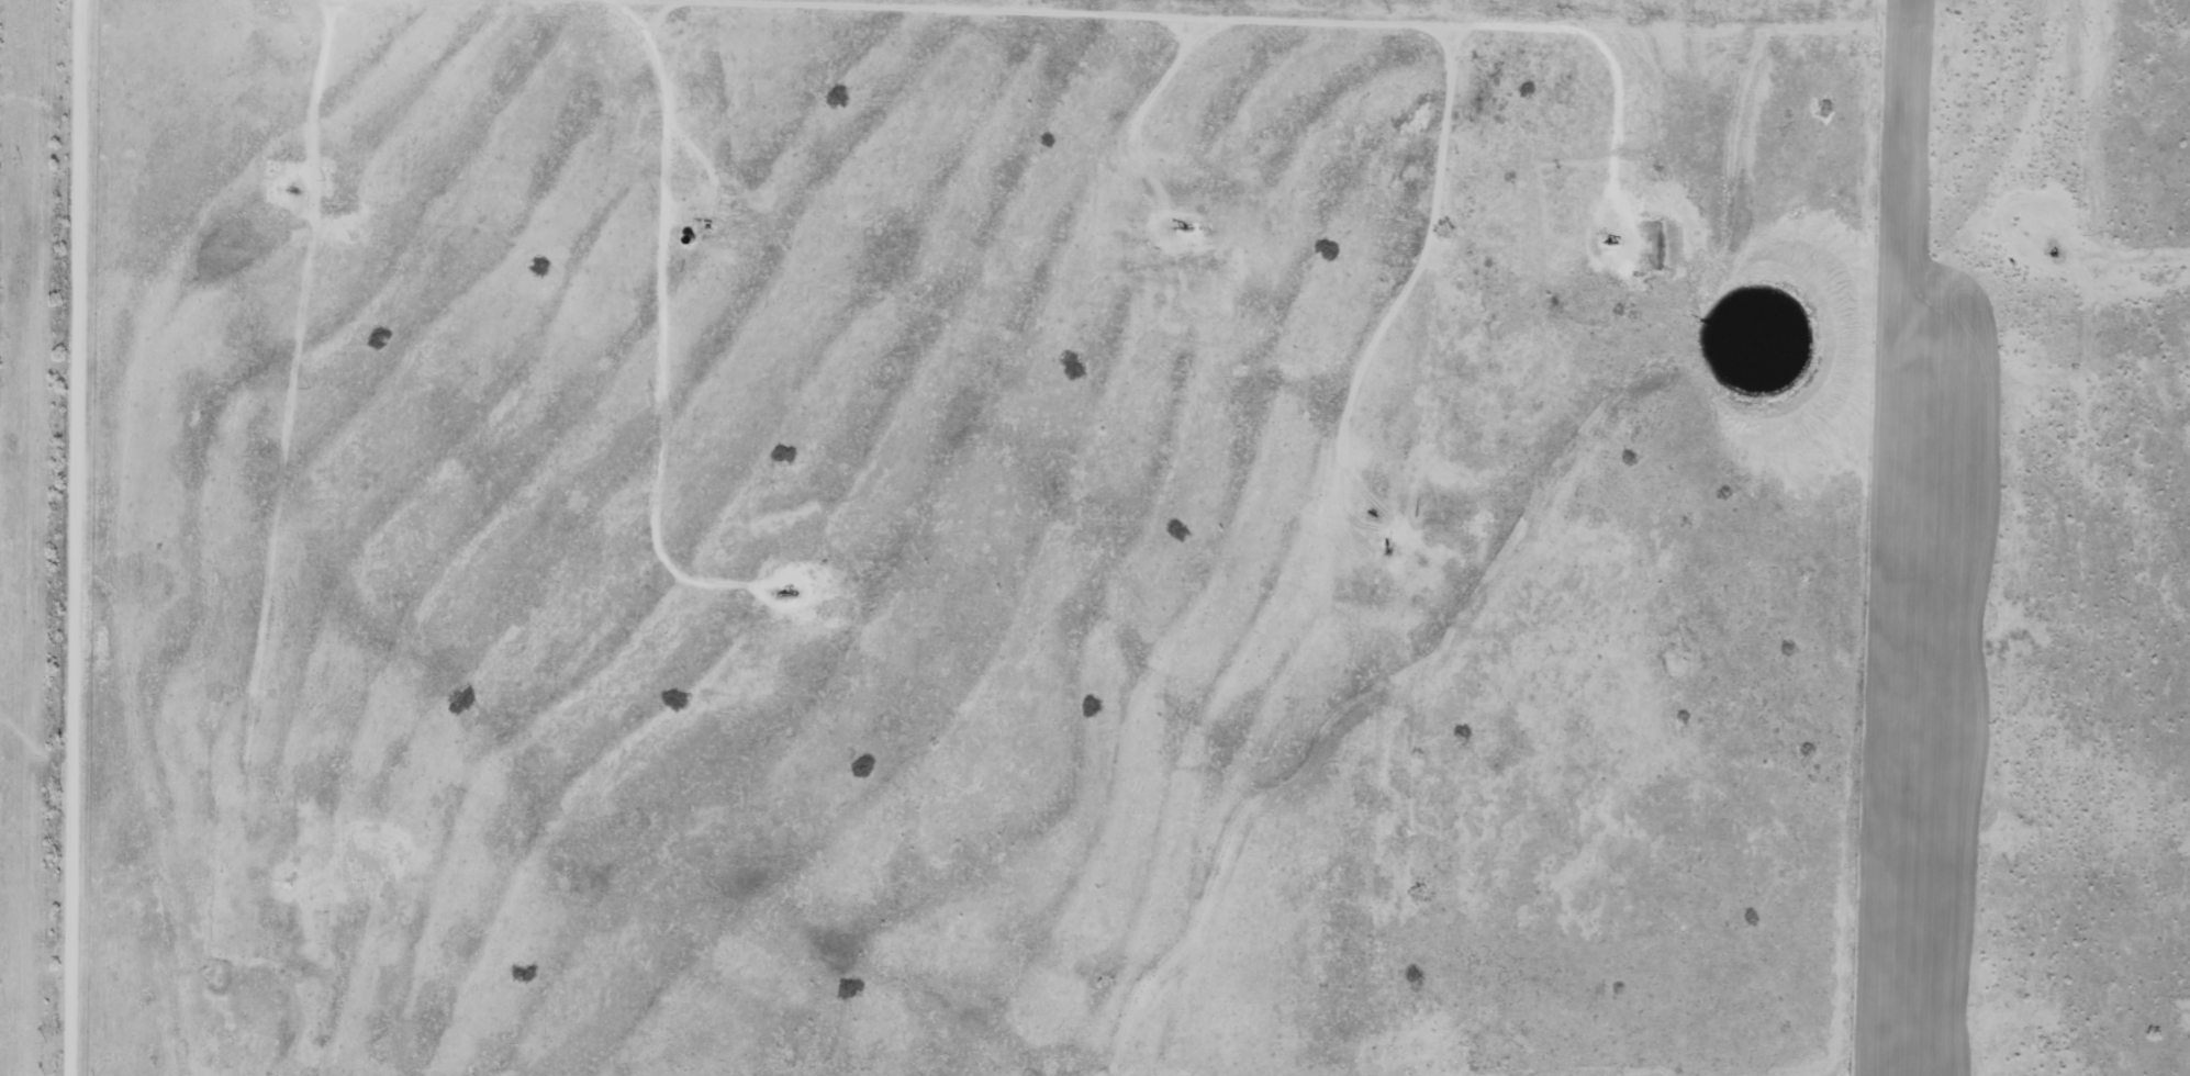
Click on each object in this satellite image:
road: (1317, 38)
road: (85, 527)

